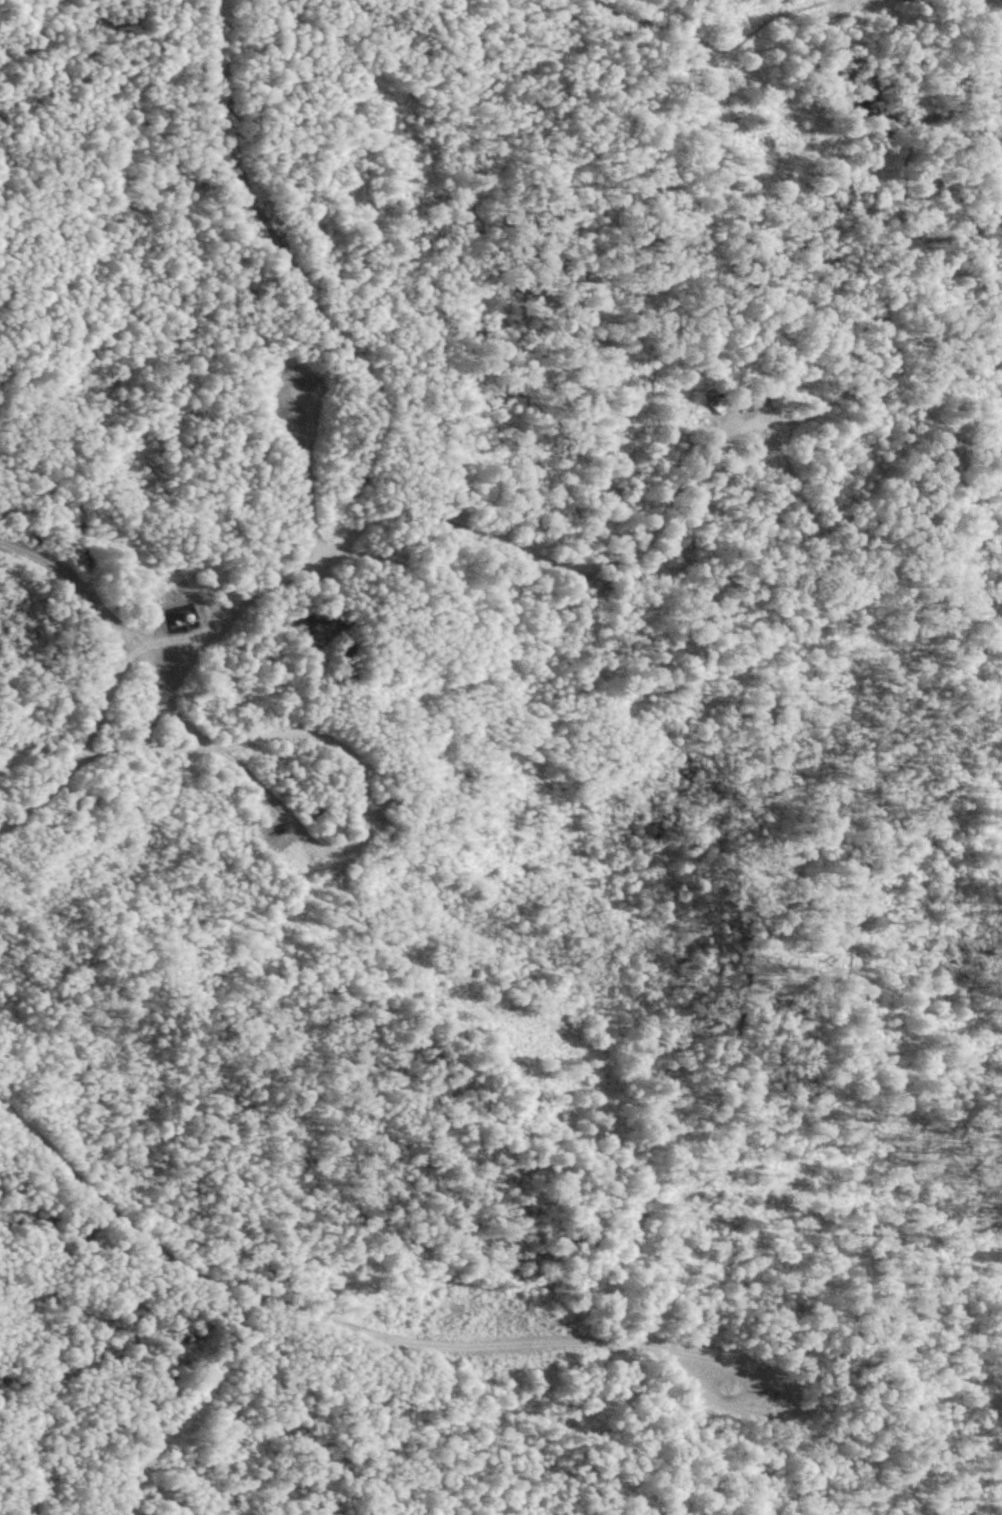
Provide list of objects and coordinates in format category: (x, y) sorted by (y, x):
petroleum well: (309, 380)
building: (716, 405)
road: (90, 580)
road: (86, 743)
petroleum well: (285, 830)
road: (341, 1327)
petroleum well: (776, 1389)

